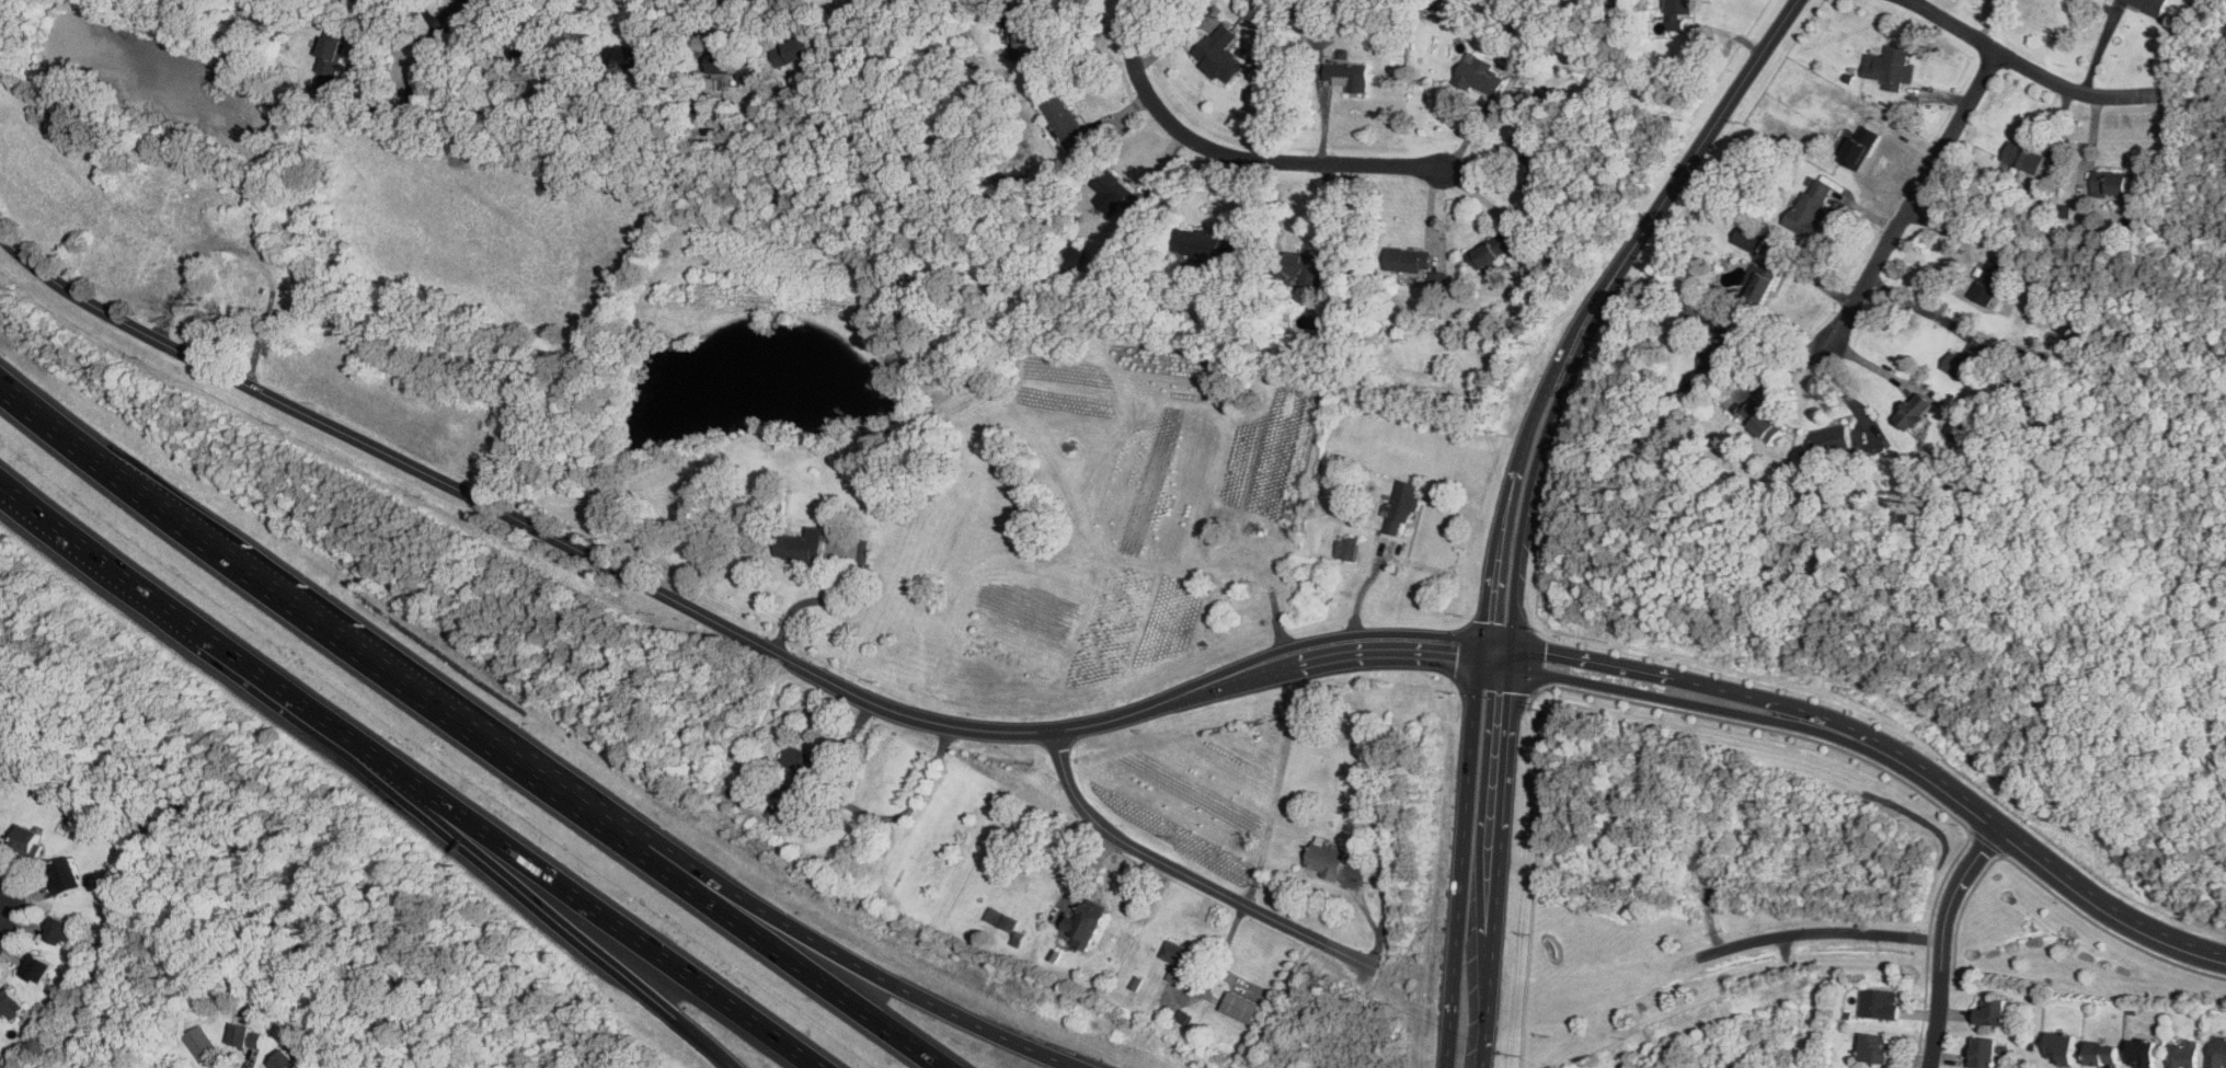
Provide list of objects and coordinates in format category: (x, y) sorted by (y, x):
building: (364, 0)
building: (1263, 3)
building: (2154, 4)
building: (1680, 12)
building: (1025, 36)
road: (1078, 39)
building: (334, 50)
building: (530, 51)
building: (1221, 51)
building: (794, 53)
road: (427, 54)
building: (629, 60)
building: (725, 67)
building: (1892, 68)
building: (1480, 74)
road: (2040, 74)
building: (1349, 81)
building: (512, 100)
building: (1066, 126)
building: (1862, 146)
road: (1236, 157)
building: (2026, 159)
road: (1685, 171)
building: (1534, 179)
building: (1011, 181)
building: (2108, 186)
building: (1114, 192)
road: (1916, 197)
building: (1820, 202)
building: (1749, 240)
building: (1203, 246)
building: (1492, 252)
building: (1410, 260)
building: (1307, 266)
building: (1767, 283)
building: (1987, 284)
road: (1917, 306)
building: (1723, 351)
building: (1967, 358)
road: (1785, 369)
building: (1920, 411)
building: (1774, 428)
building: (1961, 432)
building: (1827, 437)
building: (1402, 506)
road: (508, 514)
building: (801, 547)
building: (1346, 549)
road: (144, 595)
road: (1362, 598)
traffic signals: (1519, 646)
traffic signals: (1482, 652)
traffic signals: (1518, 666)
road: (1258, 668)
road: (1673, 676)
road: (1528, 693)
road: (1667, 694)
road: (1478, 699)
road: (1516, 704)
road: (1758, 725)
road: (468, 730)
building: (804, 763)
building: (739, 793)
building: (30, 840)
road: (1989, 840)
road: (2040, 850)
building: (1356, 858)
building: (1326, 860)
road: (1185, 873)
building: (70, 876)
road: (555, 882)
road: (512, 884)
road: (2052, 888)
road: (1369, 917)
road: (771, 918)
building: (1002, 920)
road: (1, 922)
building: (1085, 922)
building: (66, 931)
road: (1823, 938)
road: (1947, 939)
road: (1930, 943)
building: (1180, 964)
building: (39, 968)
traffic signals: (1454, 996)
building: (13, 1003)
traffic signals: (1493, 1004)
building: (1879, 1004)
building: (1241, 1008)
building: (1990, 1012)
building: (1185, 1018)
building: (250, 1035)
building: (203, 1043)
building: (1874, 1048)
building: (2061, 1048)
building: (1984, 1053)
building: (2143, 1053)
building: (2217, 1053)
building: (2101, 1055)
building: (2183, 1055)
building: (289, 1060)

